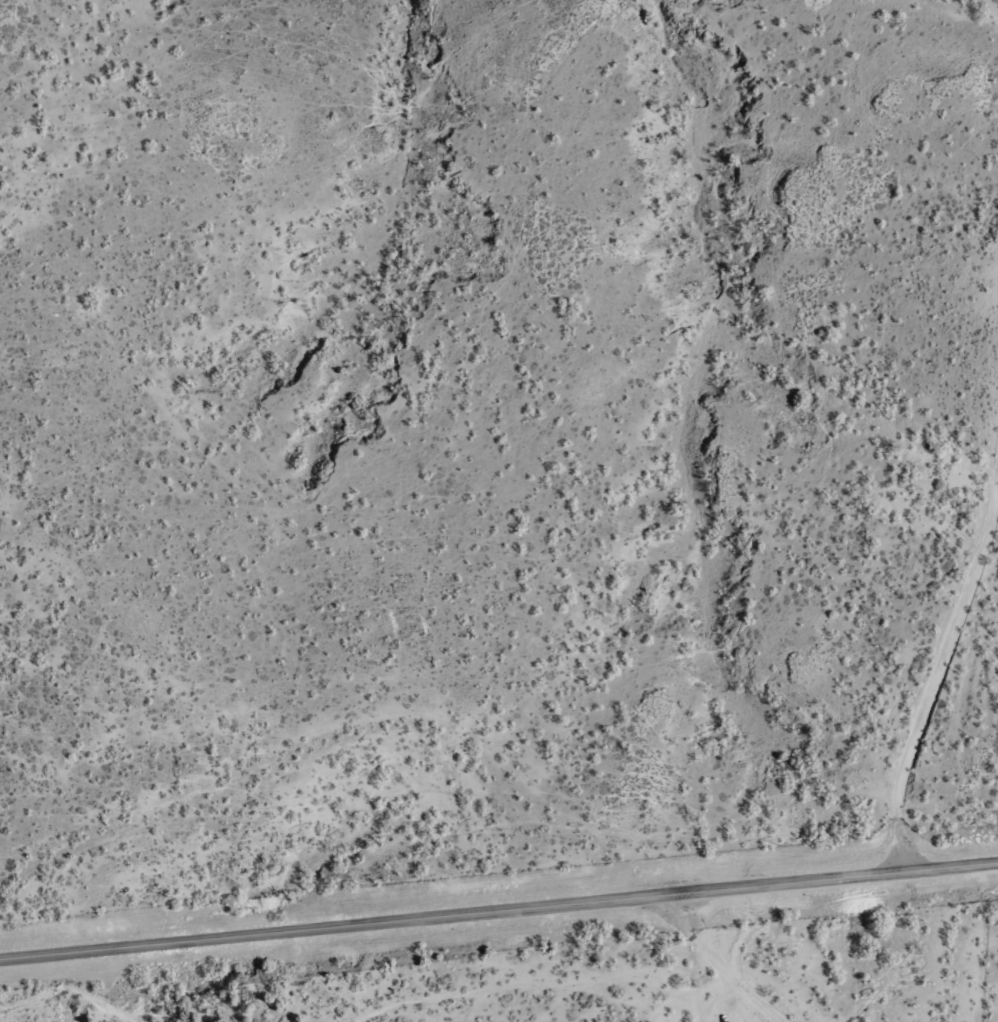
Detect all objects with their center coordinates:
road: (936, 675)
road: (499, 904)
road: (701, 950)

